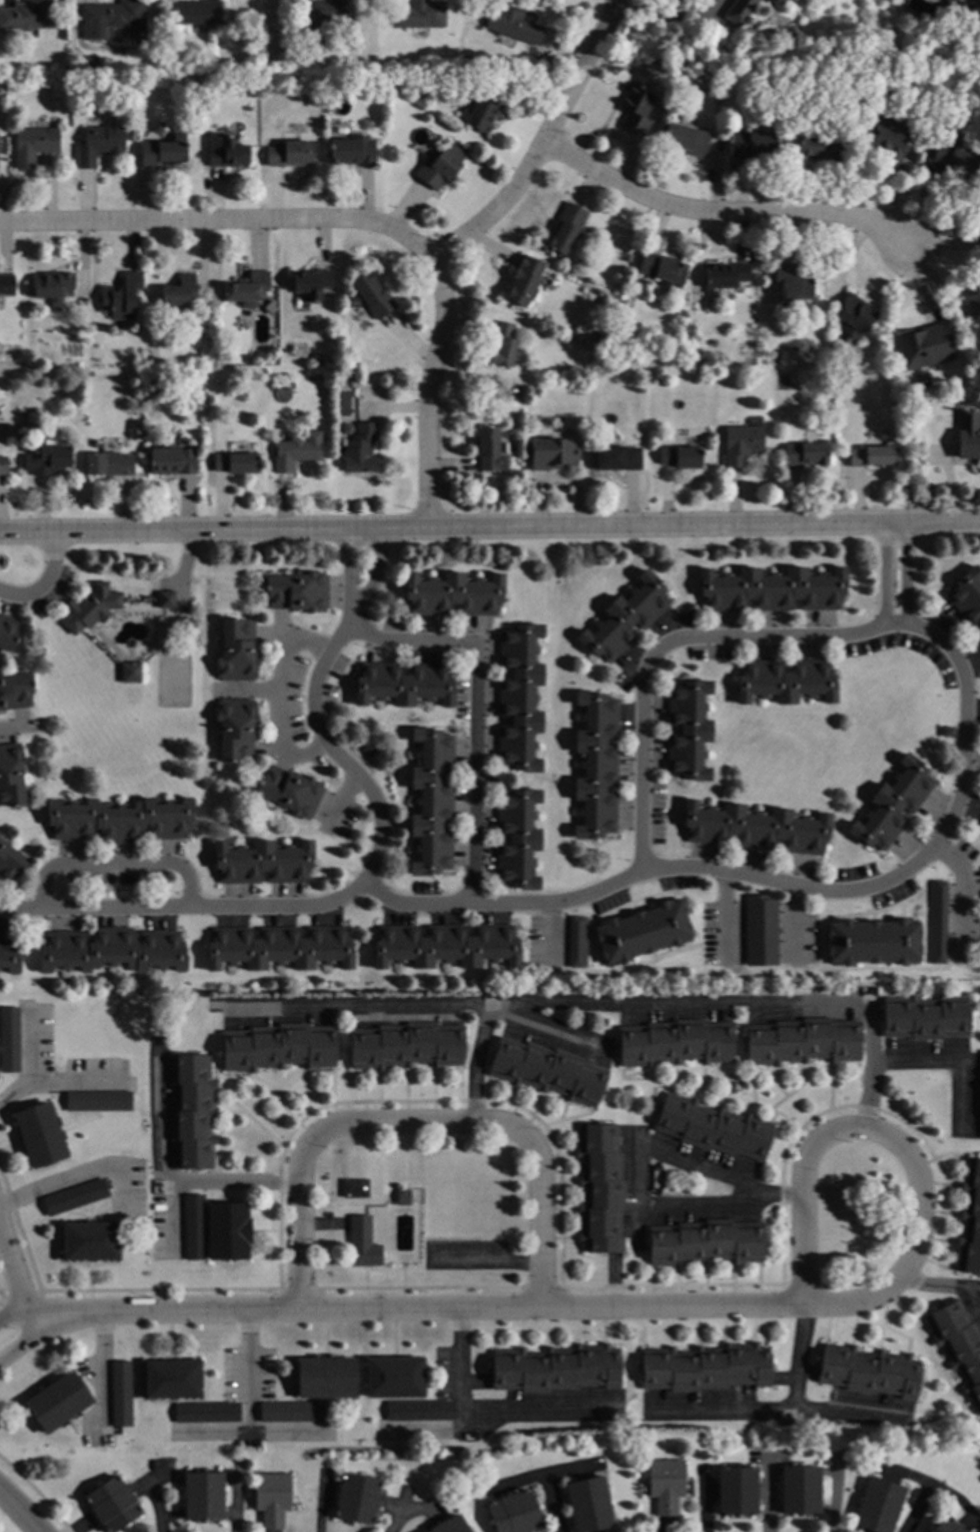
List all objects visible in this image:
building: (949, 1)
building: (779, 2)
building: (738, 11)
building: (195, 13)
building: (419, 14)
building: (29, 17)
building: (112, 19)
building: (322, 19)
road: (665, 20)
building: (512, 25)
road: (269, 33)
building: (221, 43)
building: (465, 58)
building: (293, 59)
building: (87, 61)
building: (870, 82)
building: (484, 110)
building: (635, 110)
building: (157, 128)
building: (685, 139)
building: (882, 140)
road: (542, 143)
building: (98, 144)
building: (752, 144)
building: (33, 145)
building: (820, 147)
building: (352, 150)
building: (225, 151)
building: (162, 152)
building: (288, 154)
building: (951, 161)
building: (441, 165)
road: (727, 215)
road: (357, 225)
building: (565, 228)
building: (660, 267)
building: (725, 275)
building: (523, 280)
building: (310, 283)
building: (791, 284)
building: (6, 285)
building: (52, 286)
building: (246, 290)
building: (974, 292)
building: (177, 293)
building: (120, 297)
building: (369, 297)
building: (272, 302)
building: (852, 316)
building: (502, 344)
building: (923, 347)
building: (511, 393)
building: (899, 408)
building: (967, 435)
building: (19, 436)
building: (740, 444)
building: (489, 449)
building: (360, 450)
building: (296, 451)
building: (552, 453)
building: (804, 454)
building: (871, 456)
building: (680, 457)
building: (49, 458)
building: (615, 458)
building: (171, 461)
building: (234, 463)
building: (107, 464)
building: (2, 466)
road: (490, 526)
road: (44, 581)
building: (771, 589)
building: (298, 592)
building: (452, 593)
building: (967, 594)
building: (165, 600)
building: (89, 608)
building: (624, 618)
building: (7, 633)
building: (978, 633)
road: (667, 650)
building: (236, 651)
building: (130, 672)
building: (173, 681)
building: (785, 681)
building: (403, 684)
building: (15, 691)
building: (519, 697)
road: (277, 706)
road: (475, 708)
road: (312, 712)
building: (235, 729)
building: (688, 730)
road: (16, 732)
building: (946, 732)
building: (368, 750)
building: (595, 765)
building: (11, 776)
building: (289, 792)
building: (432, 801)
building: (893, 804)
building: (119, 820)
building: (755, 827)
building: (517, 839)
building: (10, 862)
building: (262, 862)
road: (118, 864)
road: (651, 872)
road: (959, 895)
road: (725, 915)
road: (790, 921)
building: (936, 922)
building: (760, 930)
building: (642, 932)
building: (577, 942)
building: (872, 942)
building: (445, 946)
building: (278, 948)
building: (111, 951)
building: (8, 954)
road: (606, 1004)
building: (925, 1017)
road: (544, 1027)
building: (9, 1039)
building: (802, 1041)
building: (674, 1042)
road: (25, 1045)
building: (407, 1045)
building: (278, 1047)
road: (946, 1061)
road: (474, 1066)
building: (547, 1071)
road: (460, 1082)
road: (59, 1084)
road: (351, 1085)
road: (487, 1087)
road: (829, 1087)
road: (705, 1092)
road: (509, 1095)
building: (979, 1095)
road: (433, 1096)
road: (405, 1097)
road: (332, 1099)
road: (378, 1099)
building: (97, 1101)
road: (418, 1101)
road: (282, 1108)
building: (191, 1110)
road: (246, 1114)
road: (532, 1115)
road: (510, 1118)
road: (568, 1118)
road: (415, 1126)
building: (713, 1128)
road: (798, 1130)
building: (39, 1134)
road: (810, 1135)
road: (895, 1144)
road: (10, 1146)
road: (946, 1152)
road: (553, 1154)
road: (79, 1177)
road: (169, 1181)
road: (568, 1182)
building: (354, 1188)
building: (599, 1188)
building: (75, 1197)
building: (403, 1197)
road: (556, 1209)
road: (639, 1213)
building: (970, 1220)
building: (193, 1227)
building: (227, 1231)
road: (20, 1234)
road: (556, 1238)
building: (89, 1241)
building: (704, 1241)
building: (362, 1243)
road: (13, 1283)
road: (671, 1286)
road: (938, 1286)
road: (541, 1287)
road: (418, 1288)
road: (297, 1289)
road: (159, 1290)
road: (19, 1295)
road: (972, 1301)
road: (414, 1311)
road: (13, 1318)
road: (19, 1347)
building: (958, 1347)
building: (555, 1368)
building: (704, 1368)
road: (102, 1369)
building: (868, 1371)
building: (394, 1377)
building: (325, 1378)
building: (171, 1379)
building: (120, 1394)
building: (57, 1402)
road: (248, 1402)
road: (779, 1409)
building: (418, 1410)
building: (291, 1411)
building: (206, 1412)
road: (480, 1413)
road: (847, 1413)
road: (283, 1432)
road: (542, 1475)
building: (665, 1485)
road: (923, 1486)
building: (799, 1489)
building: (736, 1491)
road: (35, 1494)
building: (202, 1496)
building: (271, 1498)
building: (356, 1498)
road: (953, 1498)
road: (236, 1503)
building: (112, 1504)
road: (549, 1504)
building: (588, 1504)
building: (877, 1505)
road: (406, 1506)
road: (19, 1513)
building: (514, 1513)
building: (449, 1525)
building: (945, 1526)

